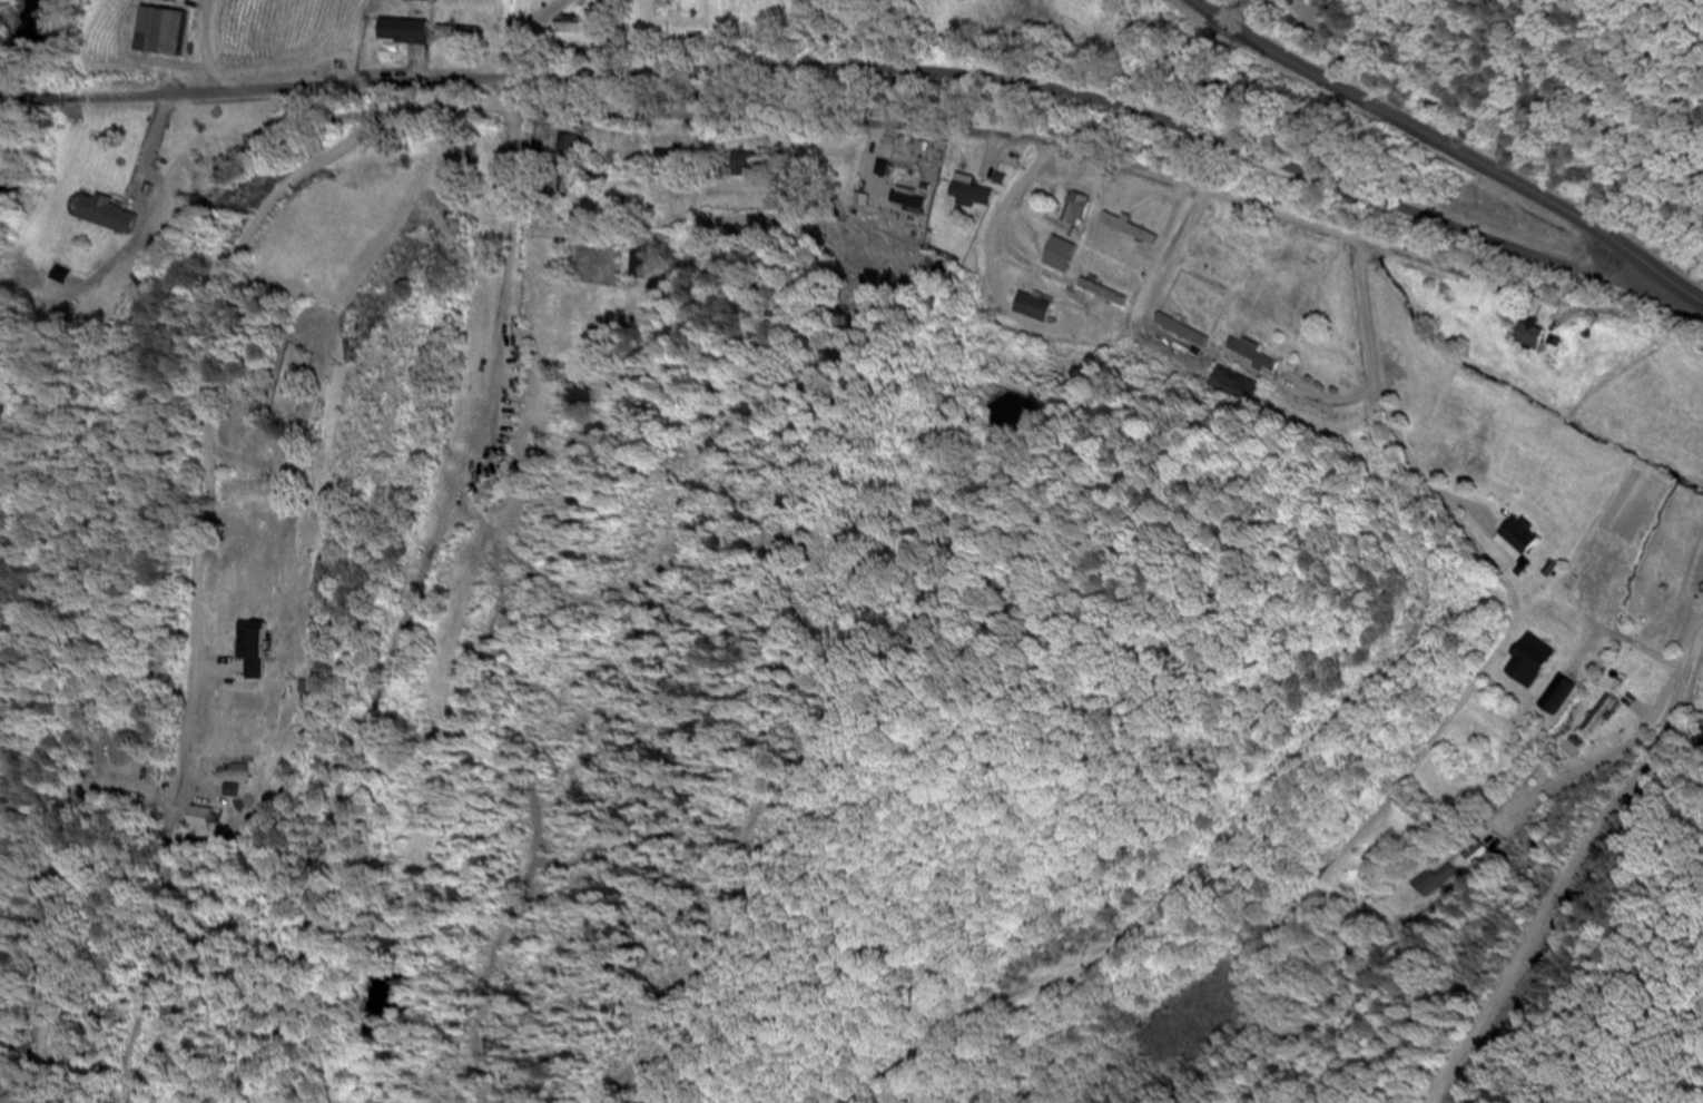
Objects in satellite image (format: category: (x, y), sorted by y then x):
building: (410, 0)
building: (157, 32)
building: (404, 36)
river: (12, 41)
road: (899, 67)
road: (29, 99)
road: (918, 119)
road: (1450, 148)
building: (741, 165)
building: (972, 197)
building: (910, 201)
road: (1584, 207)
building: (99, 216)
building: (1203, 255)
building: (1057, 256)
building: (634, 264)
building: (1031, 309)
building: (1529, 335)
building: (1528, 662)
building: (1557, 697)
building: (1597, 717)
building: (235, 770)
building: (1471, 855)
building: (1428, 882)

